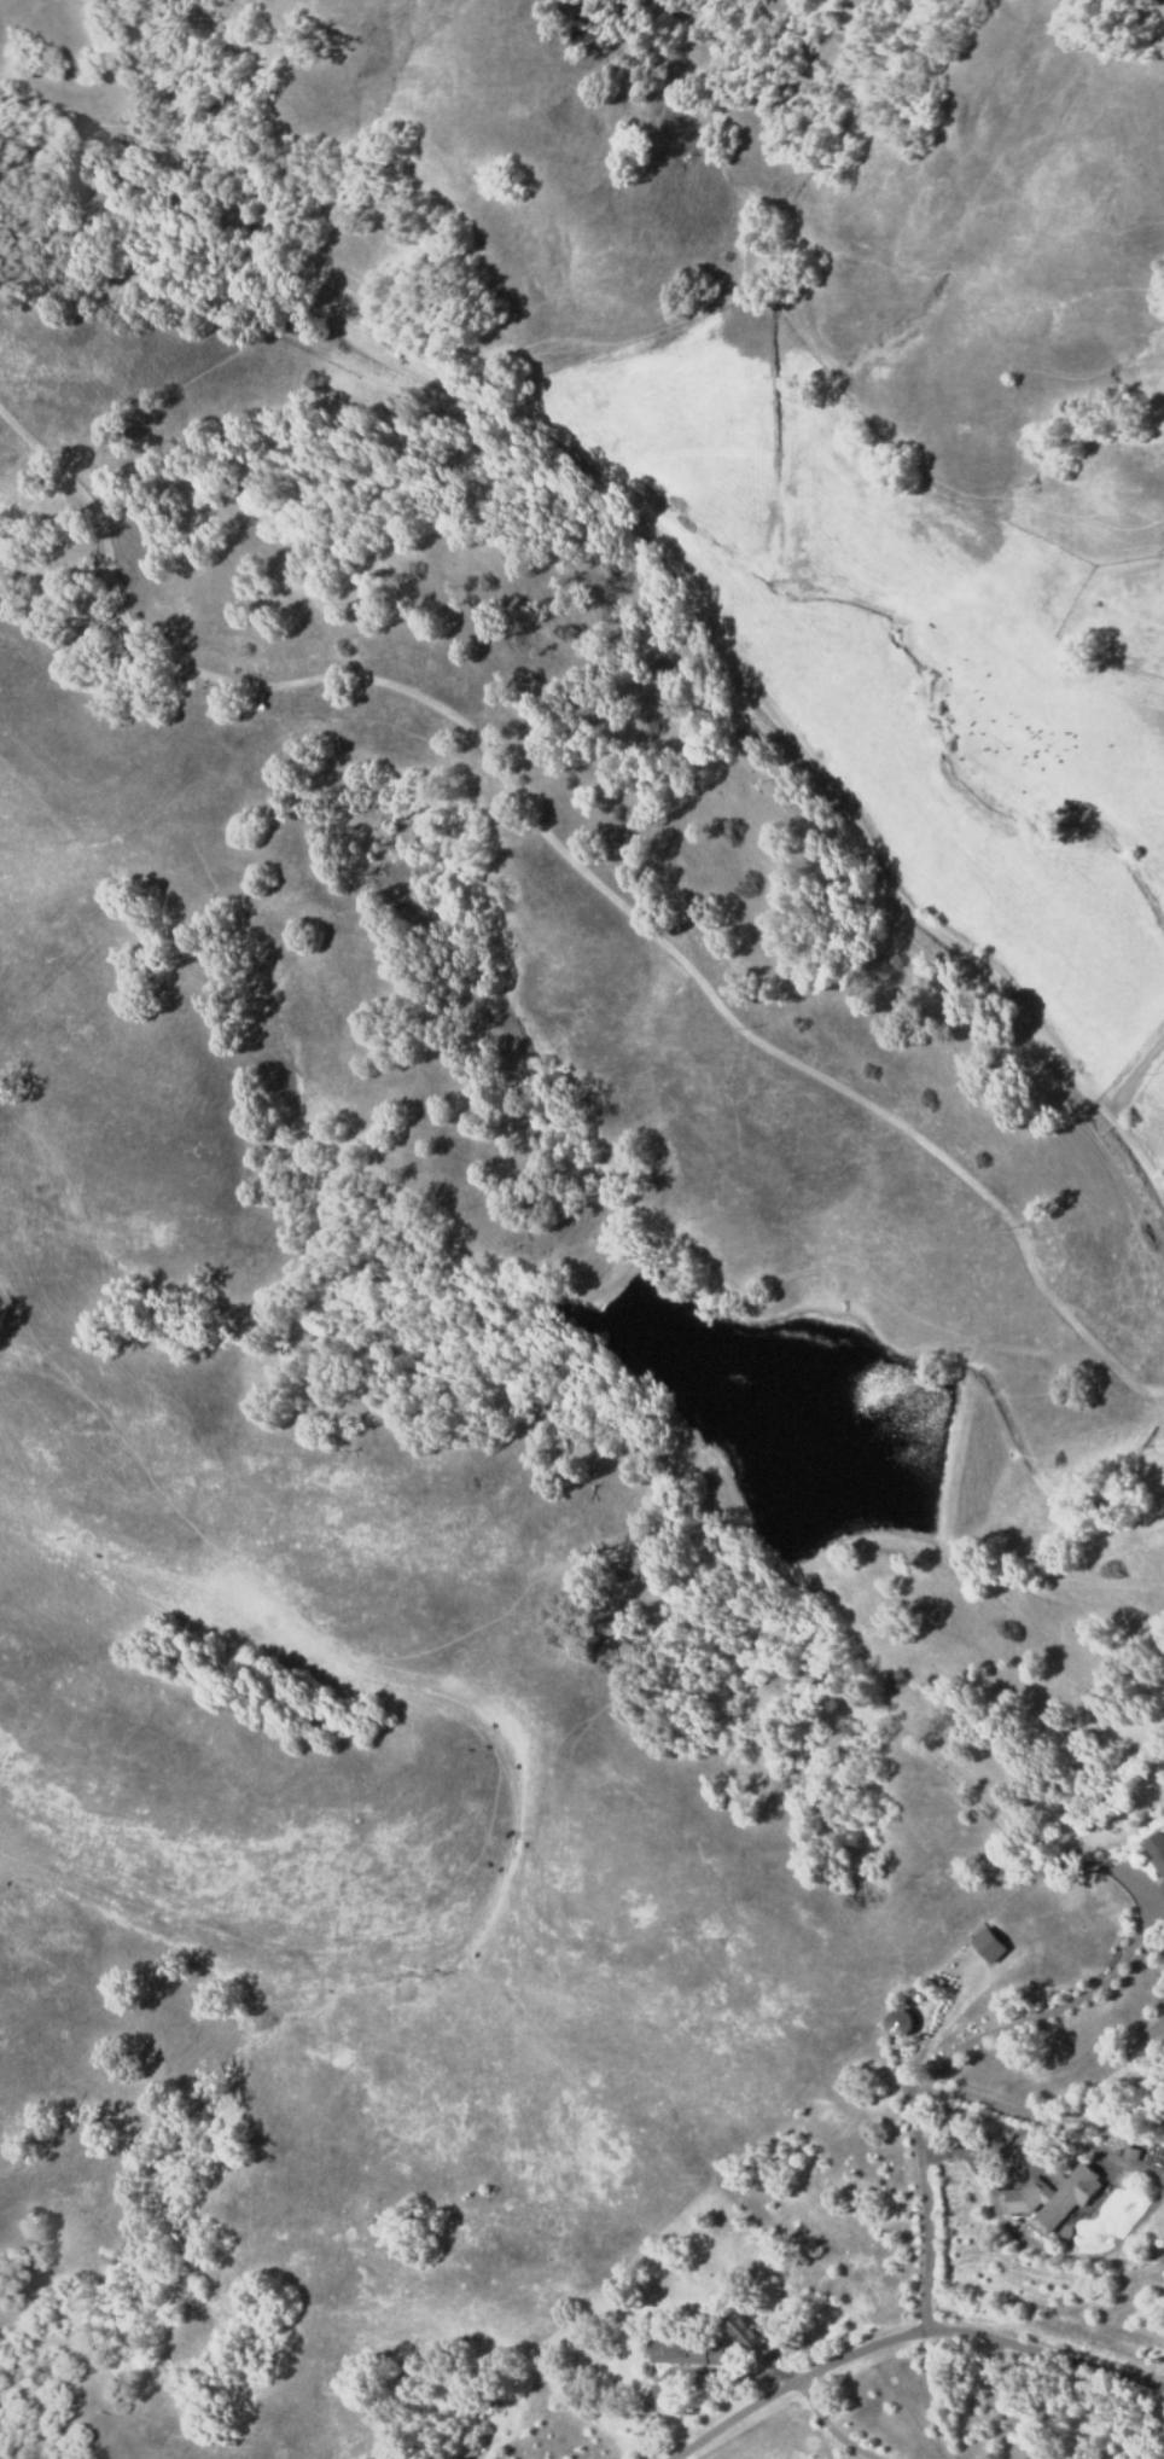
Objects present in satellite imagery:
road: (687, 518)
road: (708, 942)
road: (1142, 1065)
road: (1049, 1191)
building: (1157, 1853)
building: (1163, 1887)
building: (990, 1946)
building: (898, 2021)
building: (1133, 2153)
building: (1053, 2198)
building: (749, 2332)
road: (904, 2338)
building: (688, 2347)

